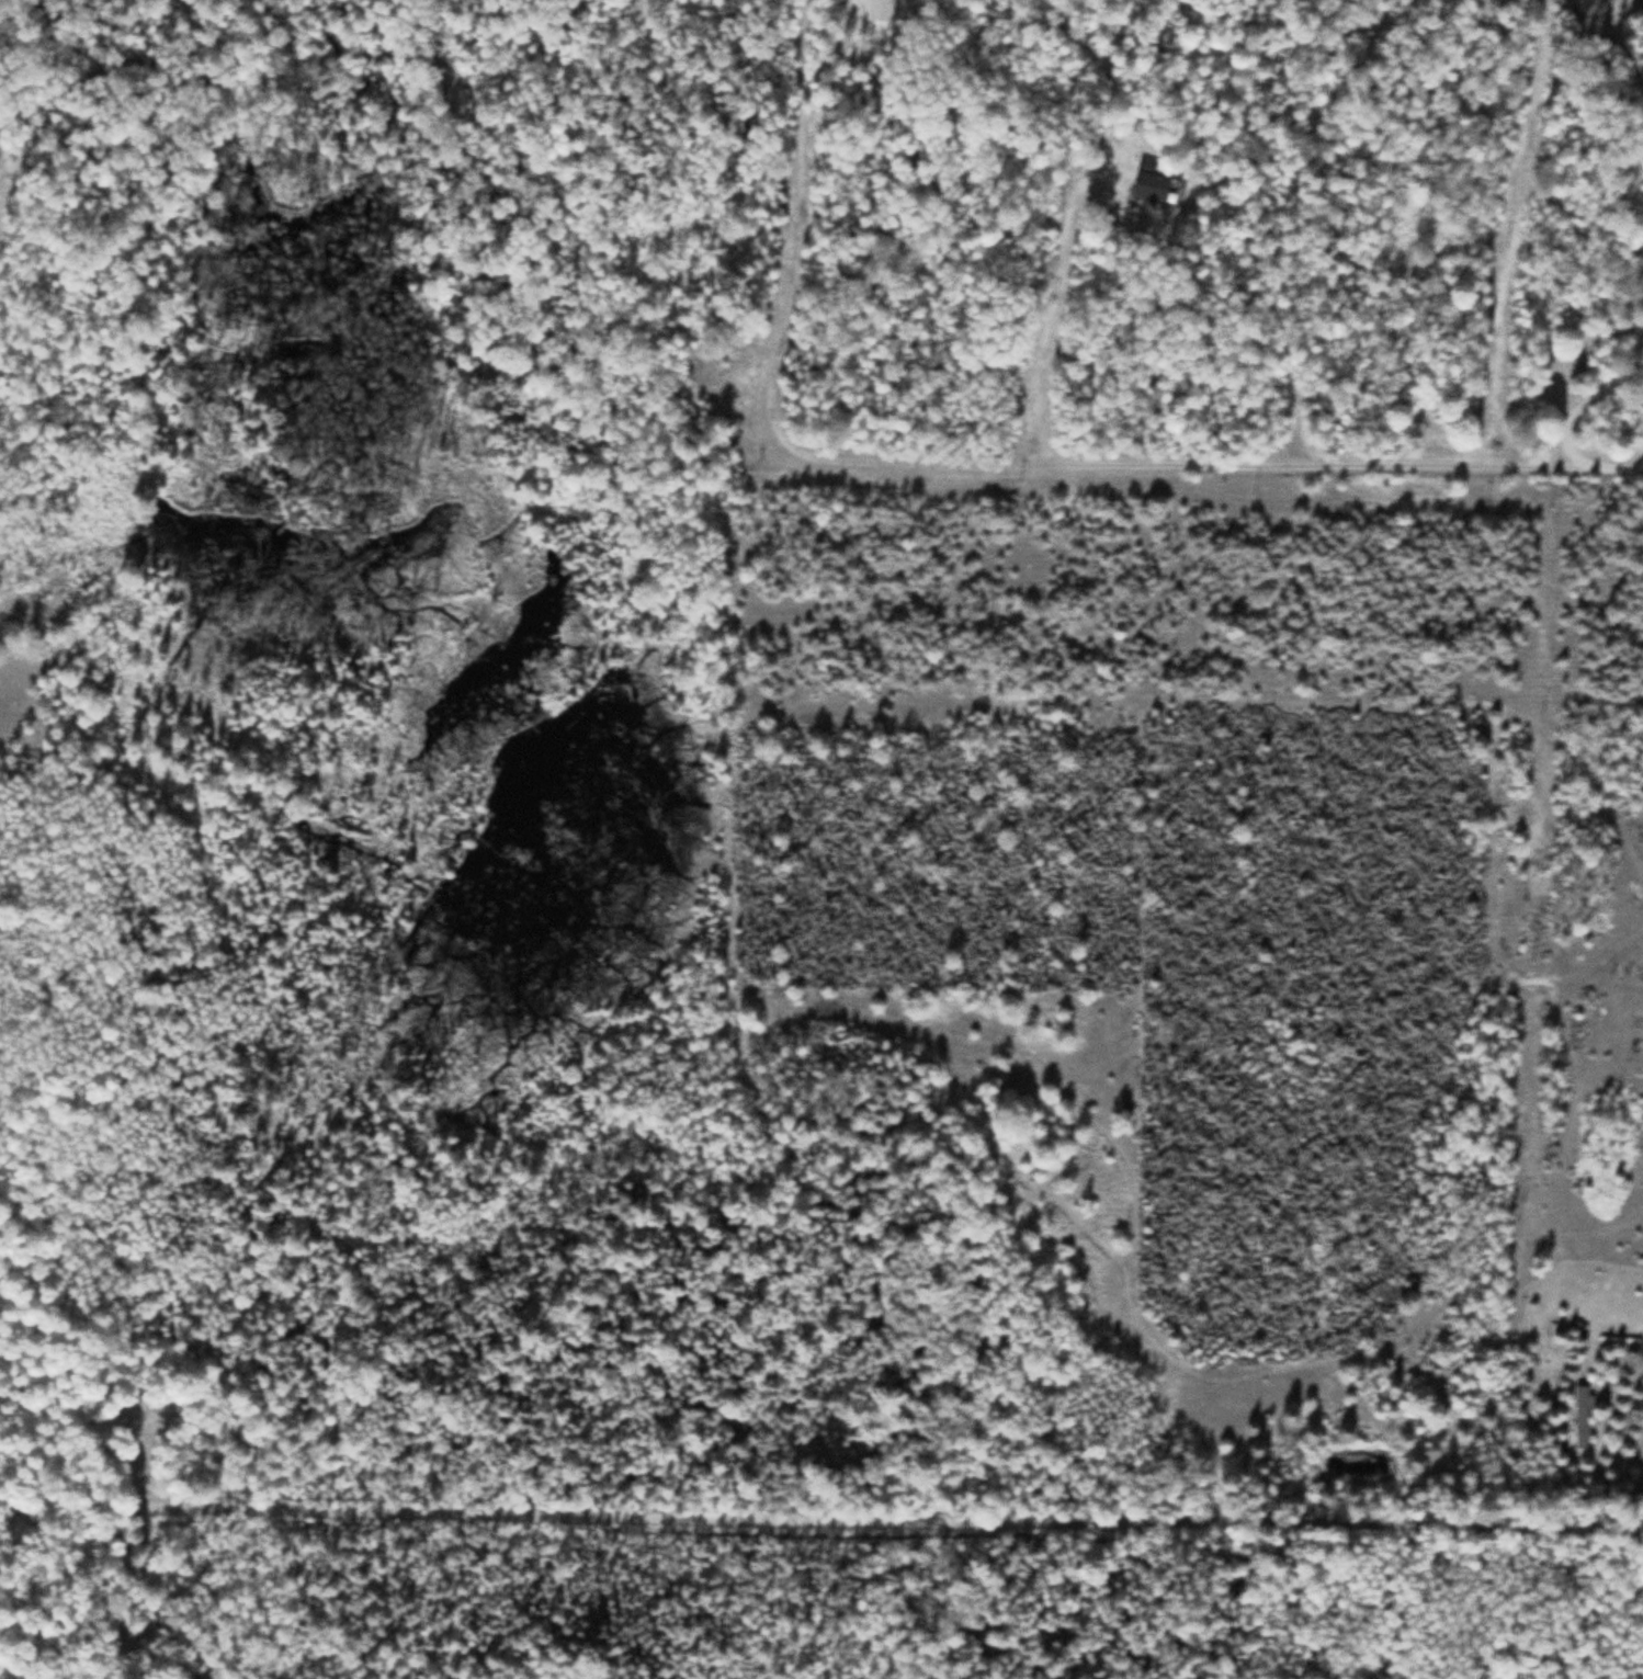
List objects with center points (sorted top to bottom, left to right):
building: (1155, 188)
road: (1571, 415)
road: (953, 462)
road: (23, 706)
road: (1597, 1319)
building: (1582, 1417)
road: (821, 1514)

